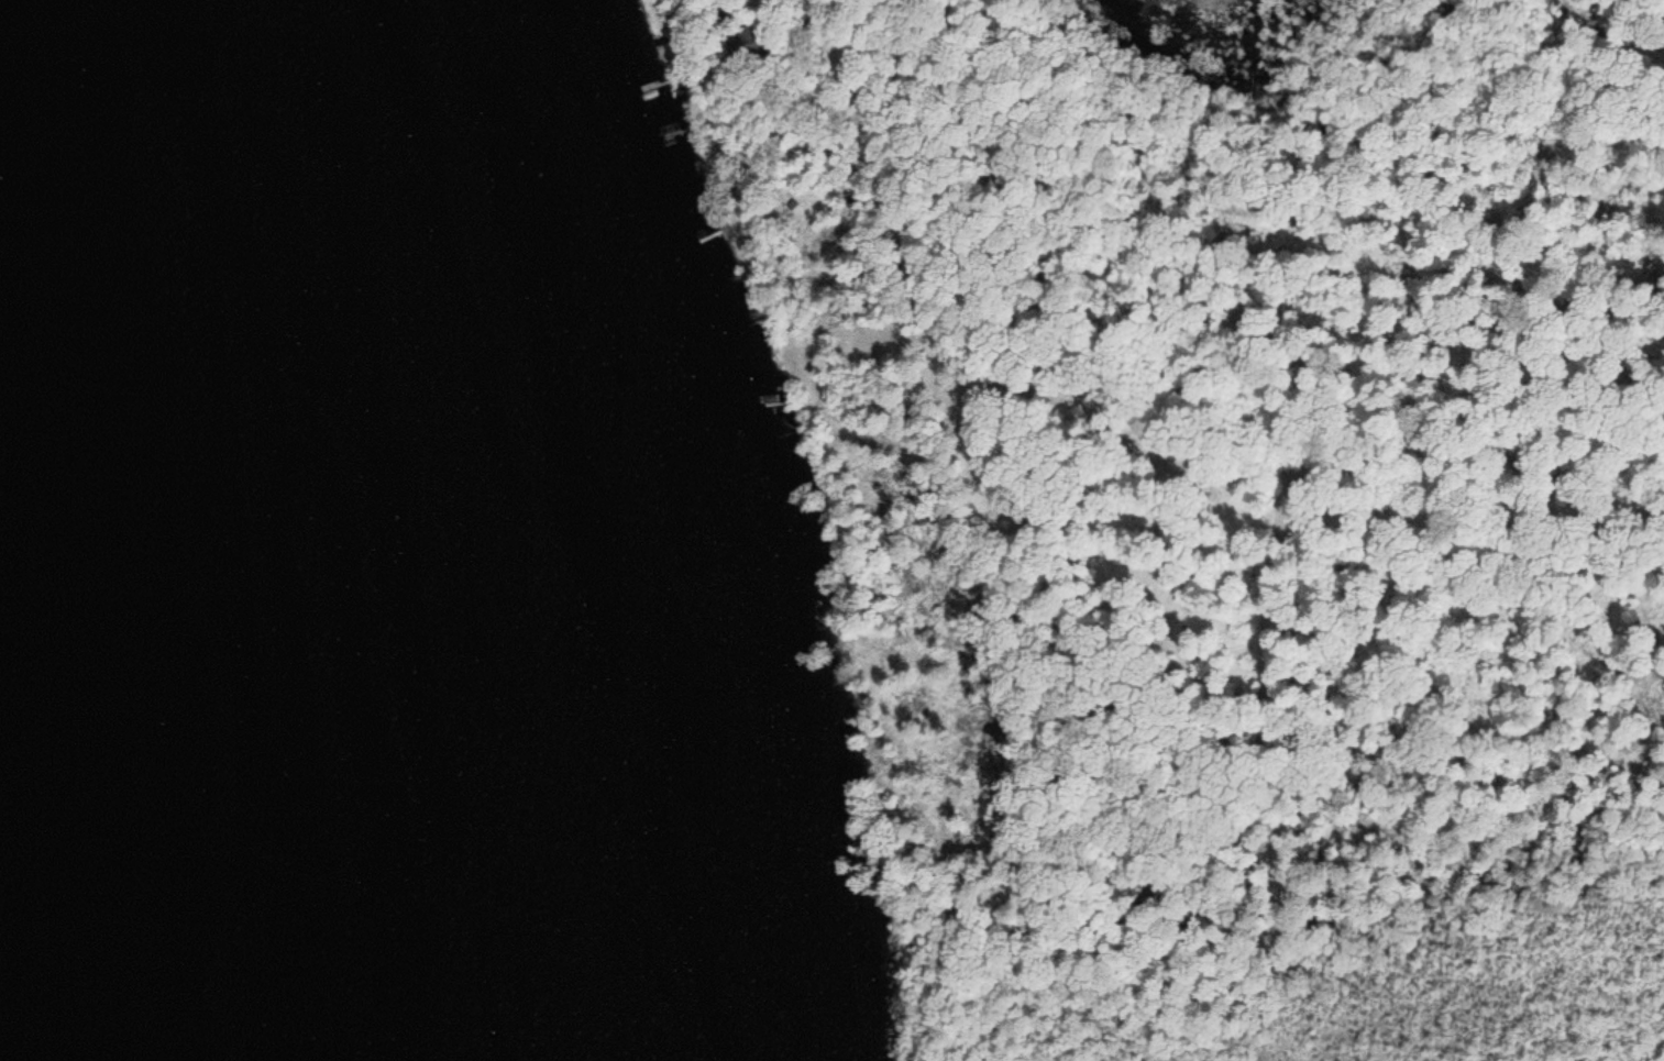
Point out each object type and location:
road: (1113, 424)

